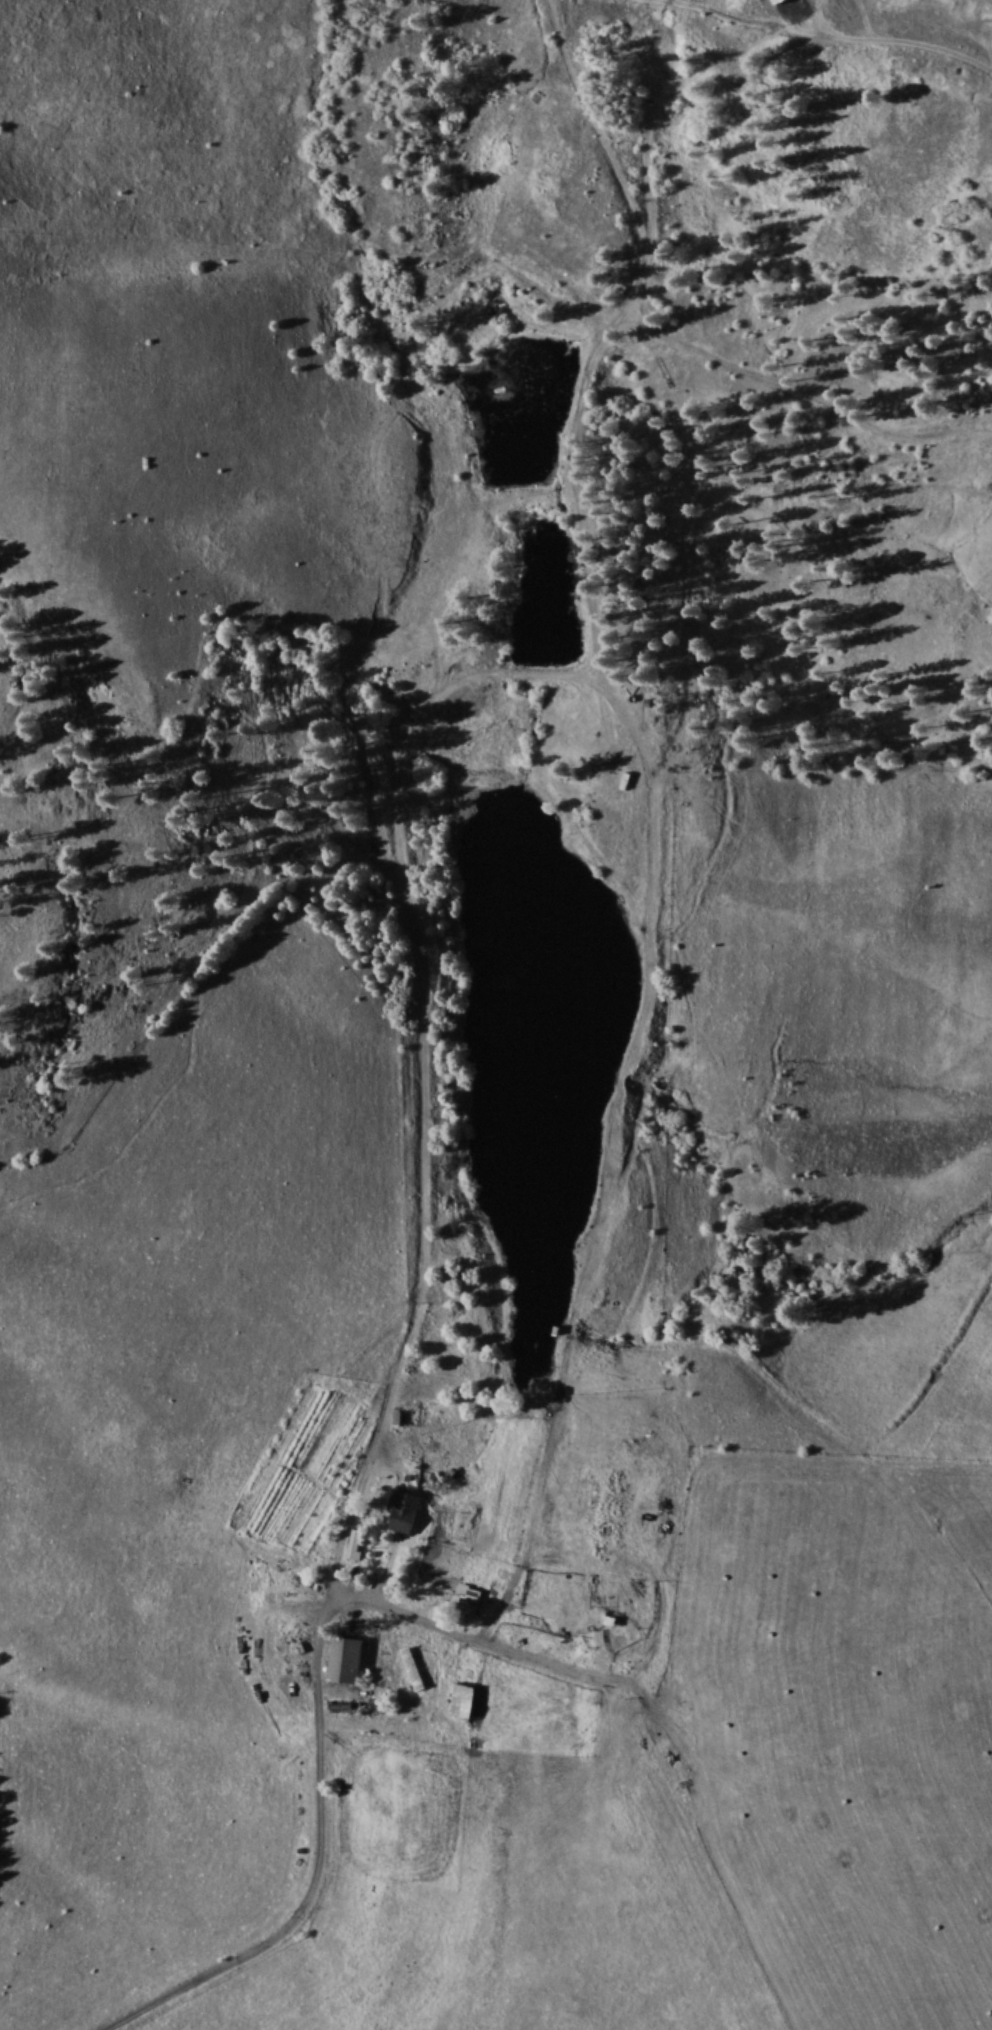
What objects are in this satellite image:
building: (404, 1510)
building: (469, 1599)
building: (611, 1616)
road: (318, 1641)
building: (348, 1658)
building: (414, 1667)
building: (464, 1700)

